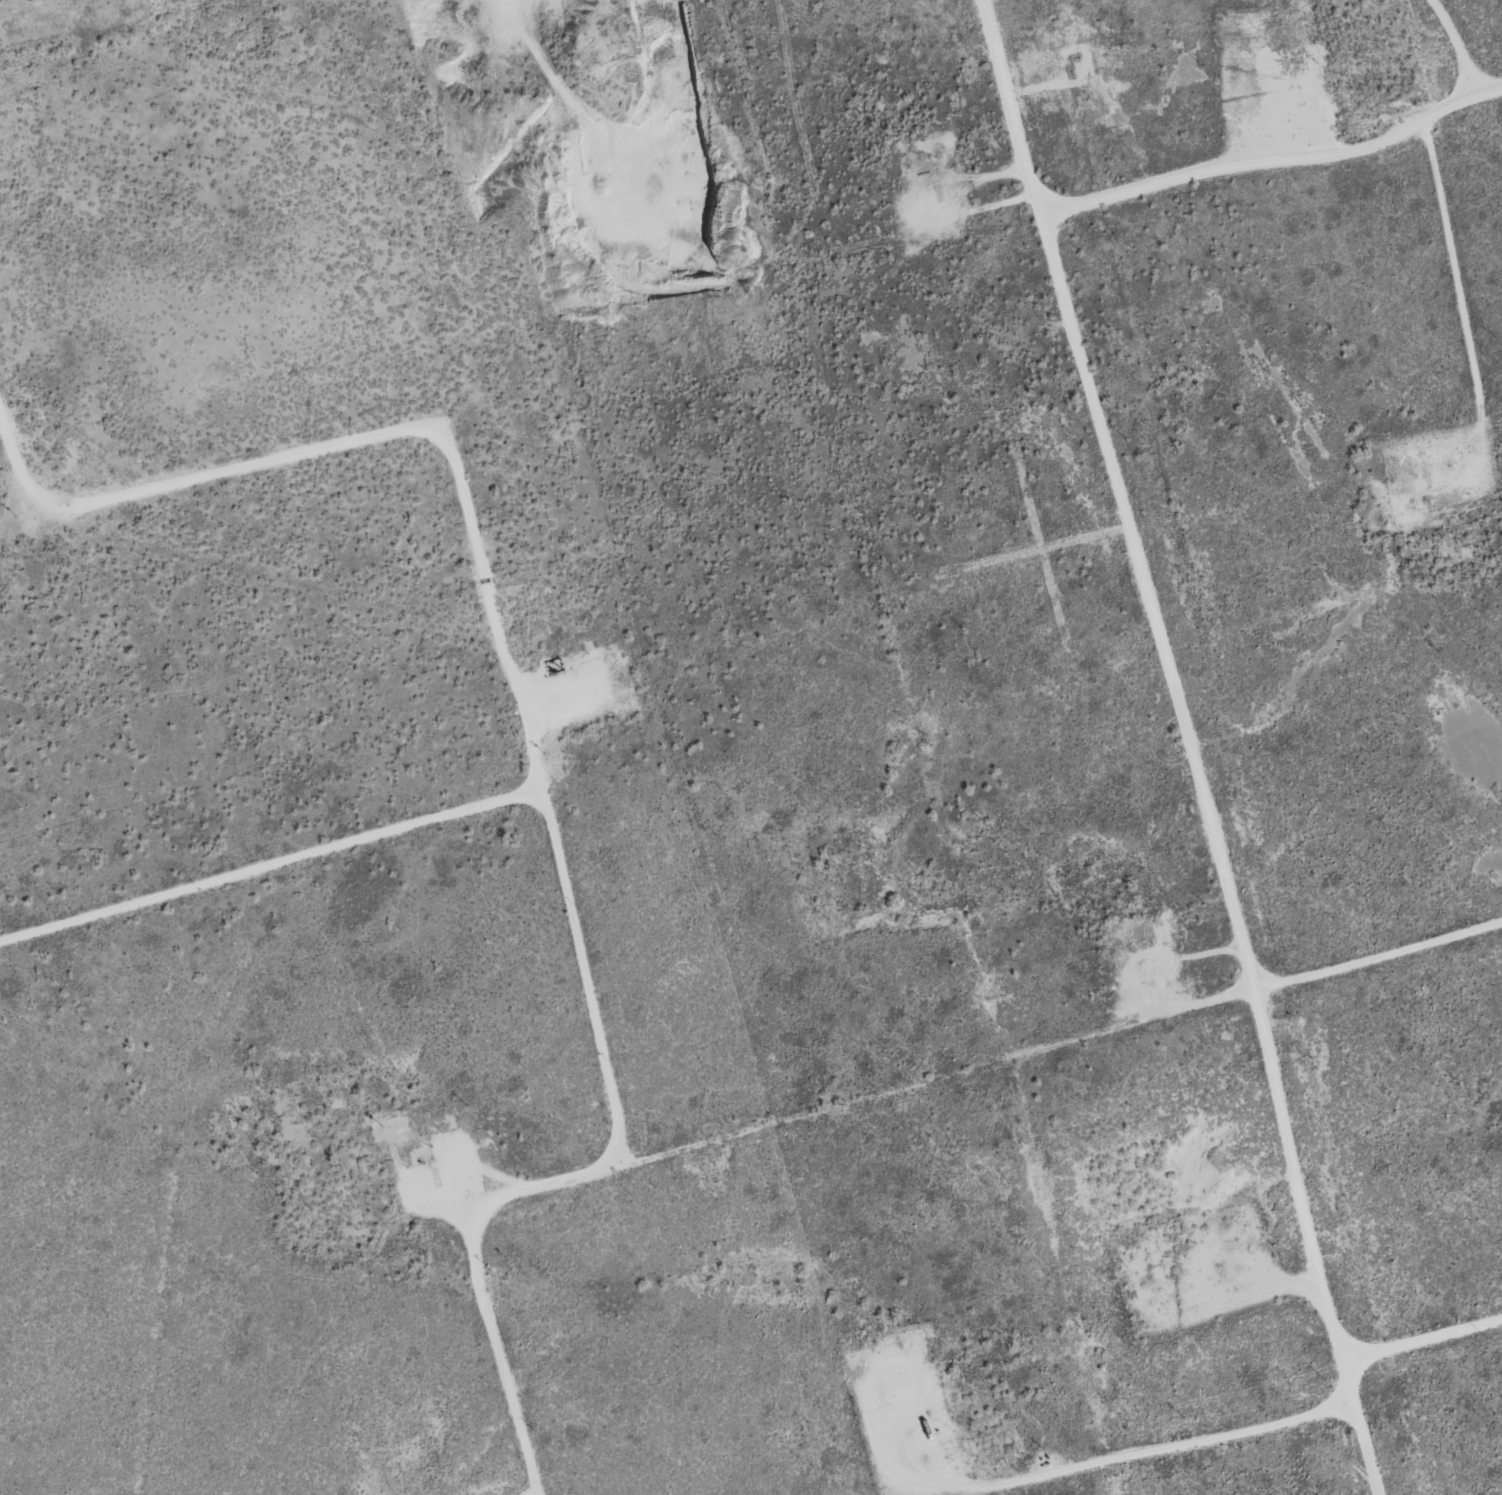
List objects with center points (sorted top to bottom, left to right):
road: (1272, 162)
road: (478, 540)
road: (1189, 744)
road: (846, 1095)
road: (1424, 1342)

